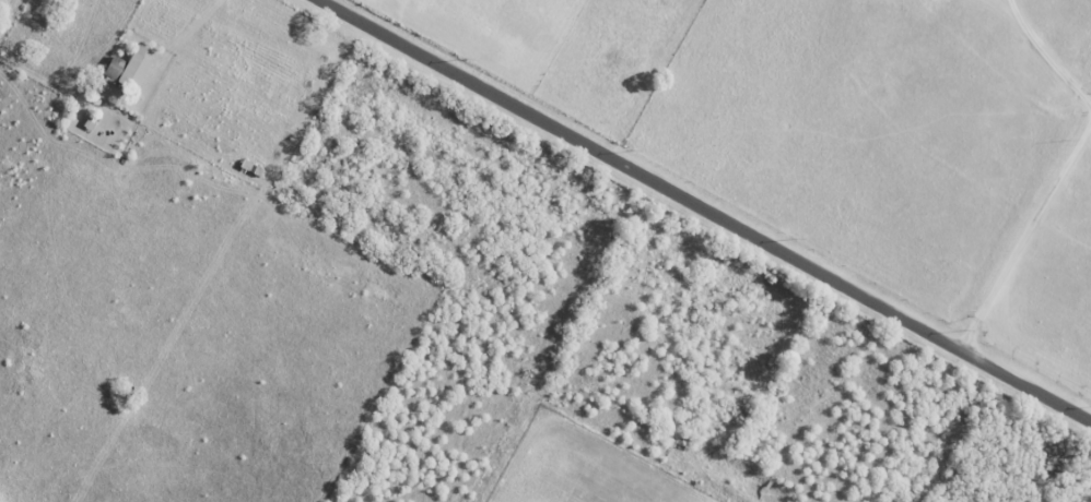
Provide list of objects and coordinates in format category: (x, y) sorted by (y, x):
road: (1046, 57)
building: (128, 72)
road: (701, 211)
road: (1024, 235)

